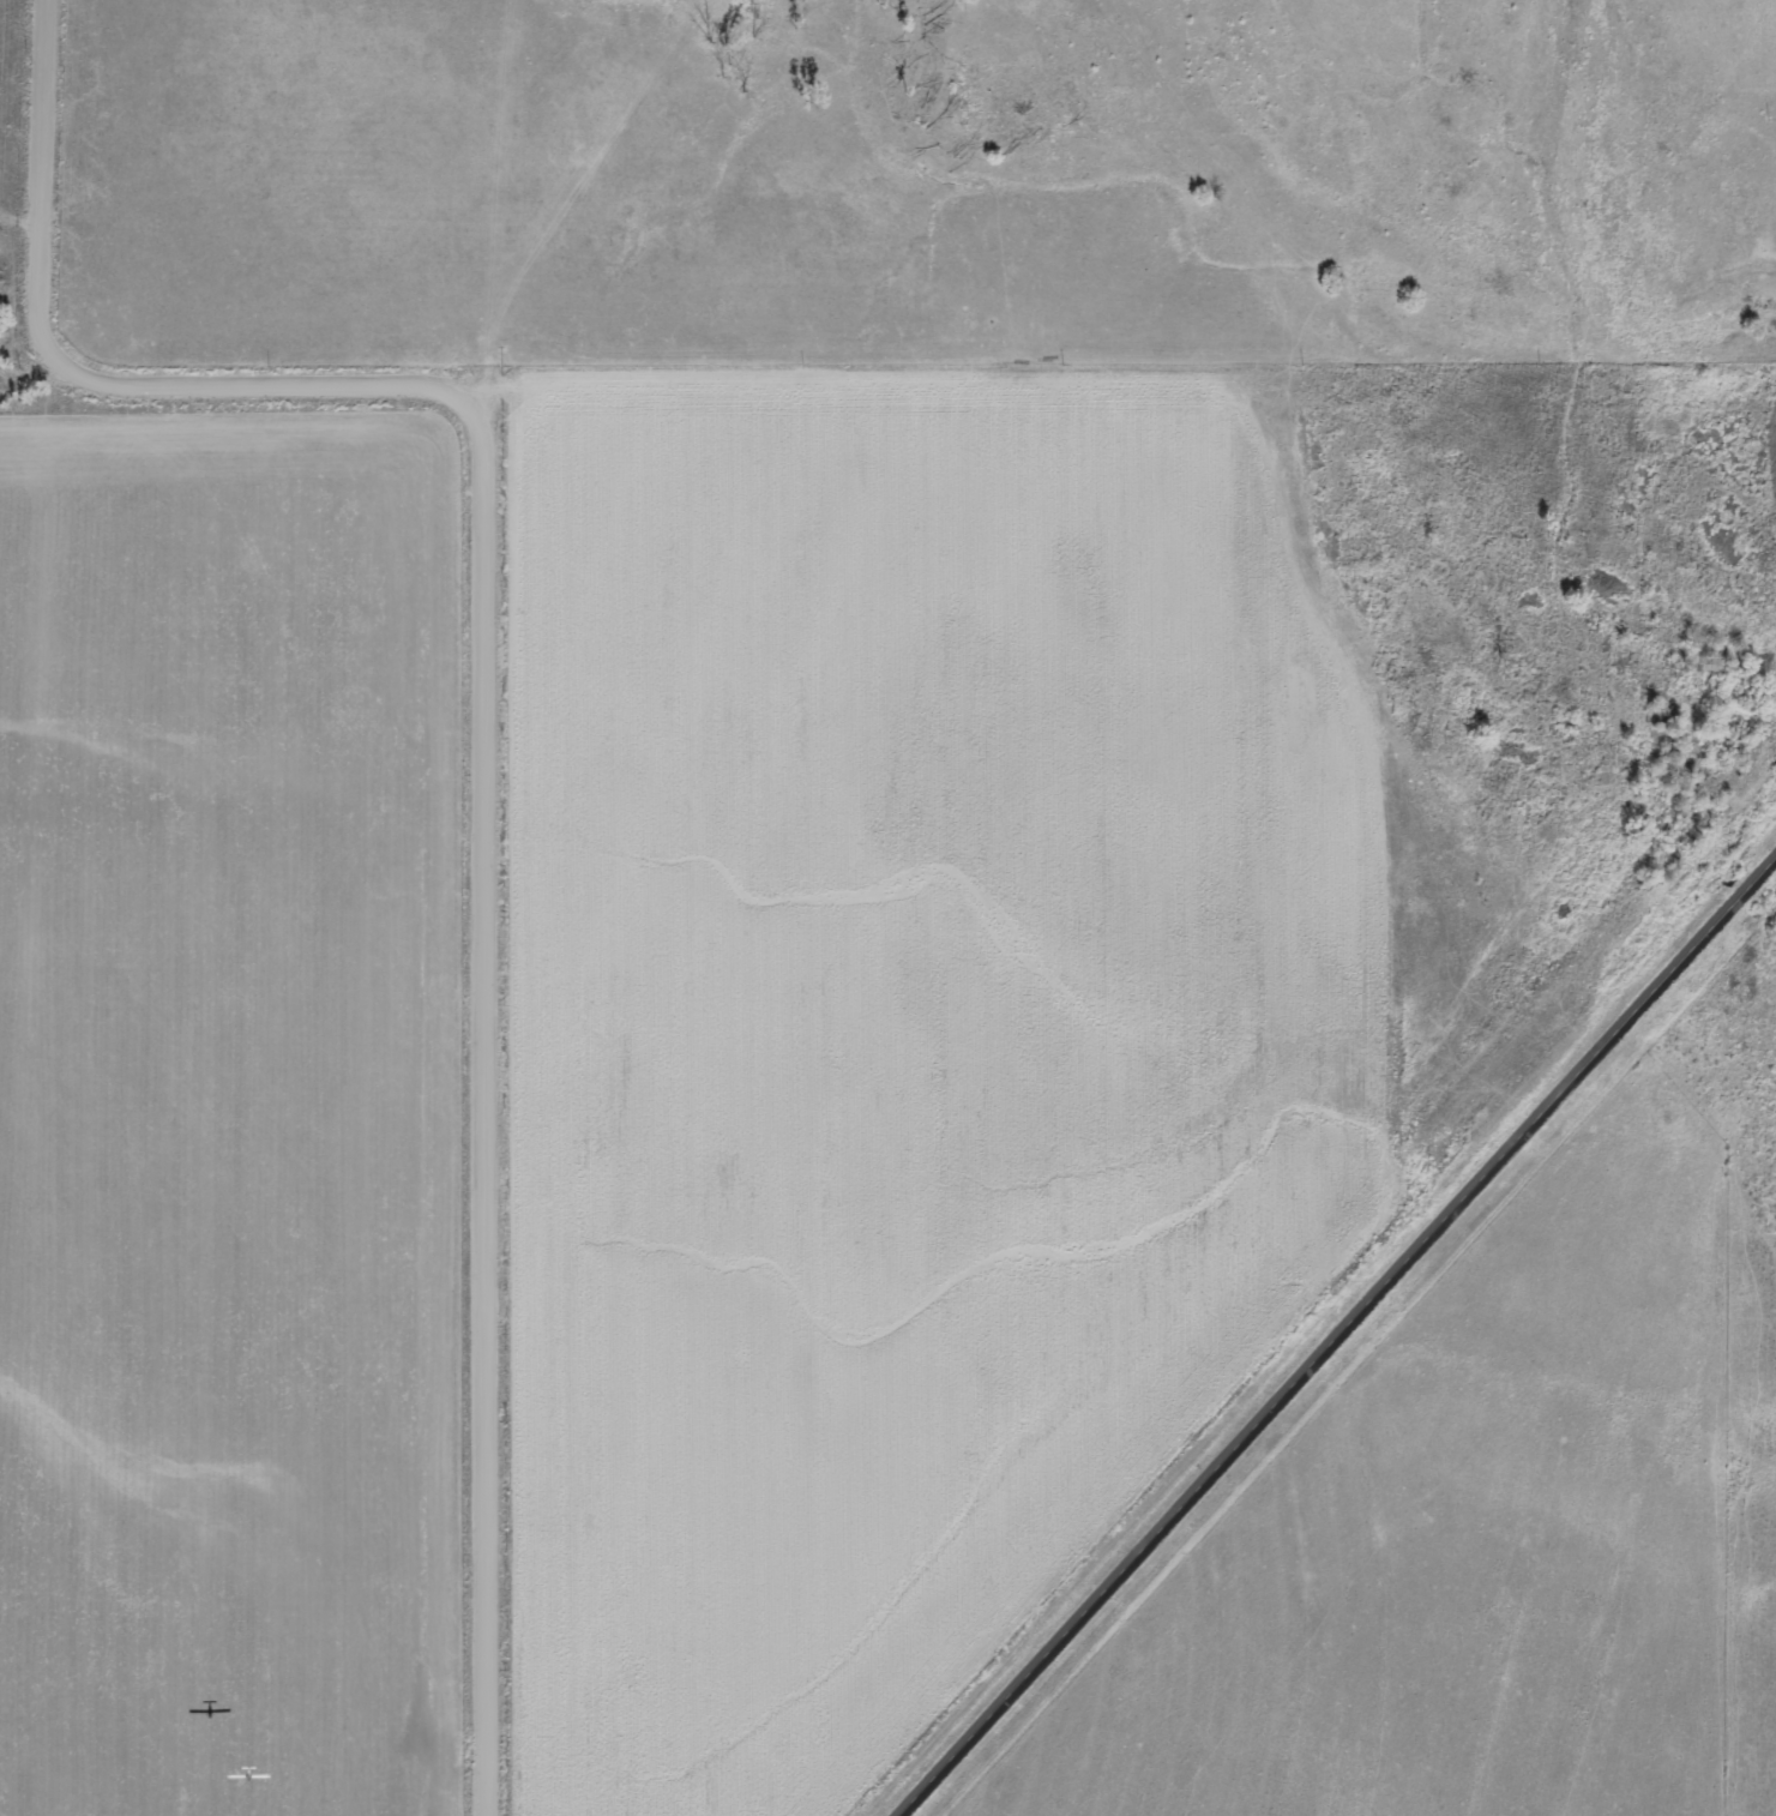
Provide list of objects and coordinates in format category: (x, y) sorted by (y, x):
road: (484, 721)
railway: (1298, 1298)
road: (1341, 1340)

